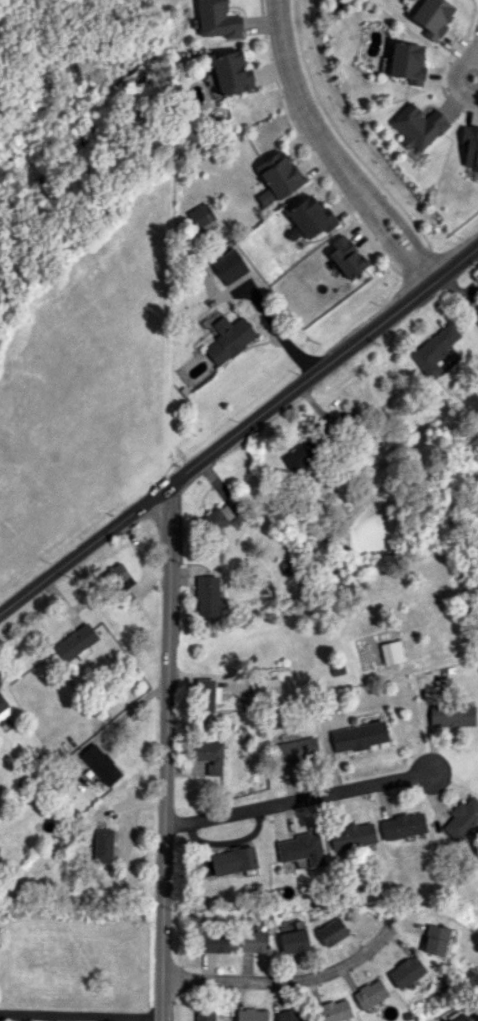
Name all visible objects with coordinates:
building: (432, 17)
building: (216, 19)
road: (477, 58)
building: (407, 62)
building: (230, 73)
road: (455, 78)
building: (418, 126)
building: (470, 147)
road: (332, 150)
building: (276, 177)
building: (203, 219)
building: (347, 256)
building: (229, 266)
building: (474, 313)
road: (280, 330)
building: (227, 336)
building: (434, 349)
road: (240, 431)
building: (303, 453)
building: (218, 517)
building: (119, 575)
building: (206, 596)
building: (75, 643)
building: (391, 652)
building: (265, 690)
building: (206, 695)
building: (4, 708)
building: (451, 714)
building: (358, 736)
building: (296, 749)
road: (165, 752)
building: (209, 755)
building: (100, 764)
road: (296, 800)
building: (461, 818)
building: (402, 825)
building: (351, 836)
building: (102, 845)
building: (302, 849)
building: (227, 861)
building: (331, 931)
building: (436, 939)
building: (293, 940)
building: (253, 941)
building: (214, 942)
building: (405, 971)
road: (288, 980)
building: (369, 995)
building: (476, 1005)
building: (333, 1010)
building: (251, 1014)
building: (204, 1015)
building: (290, 1016)
building: (457, 1016)
road: (80, 1017)

